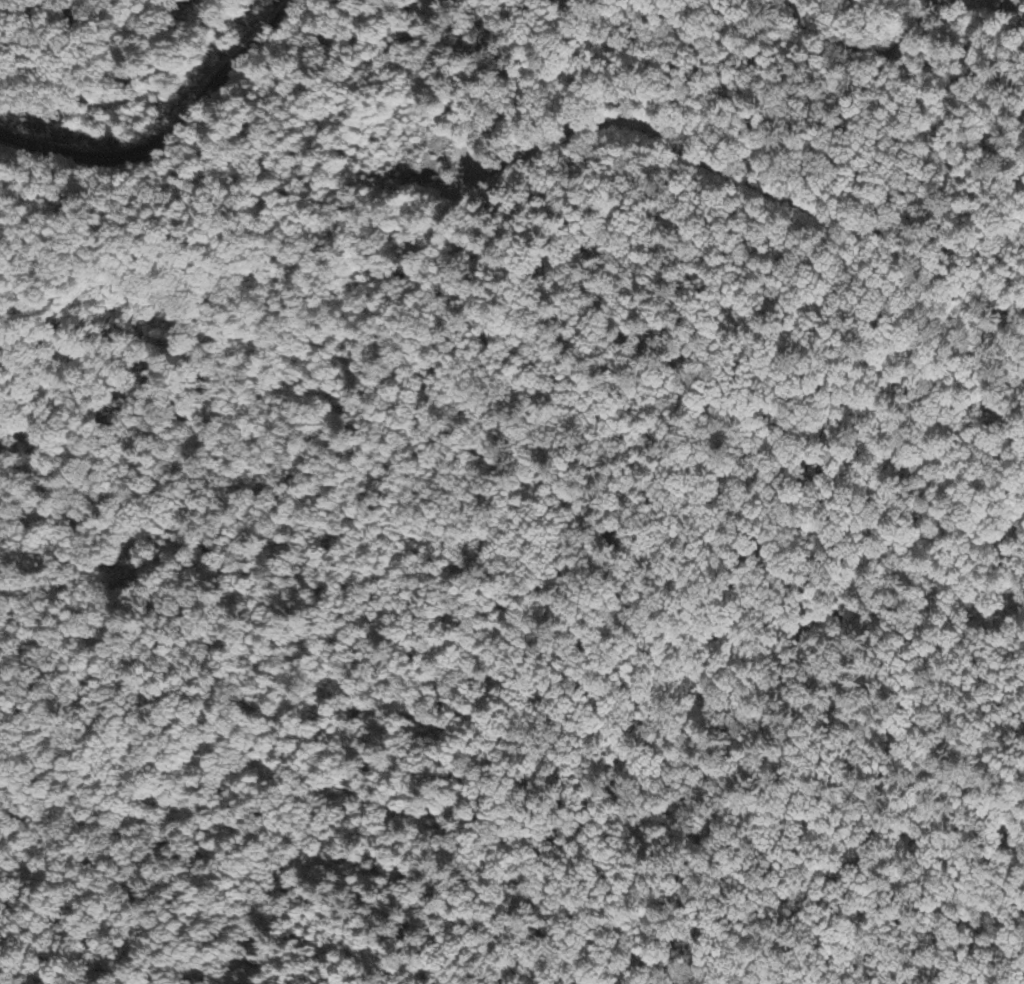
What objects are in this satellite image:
road: (158, 124)

